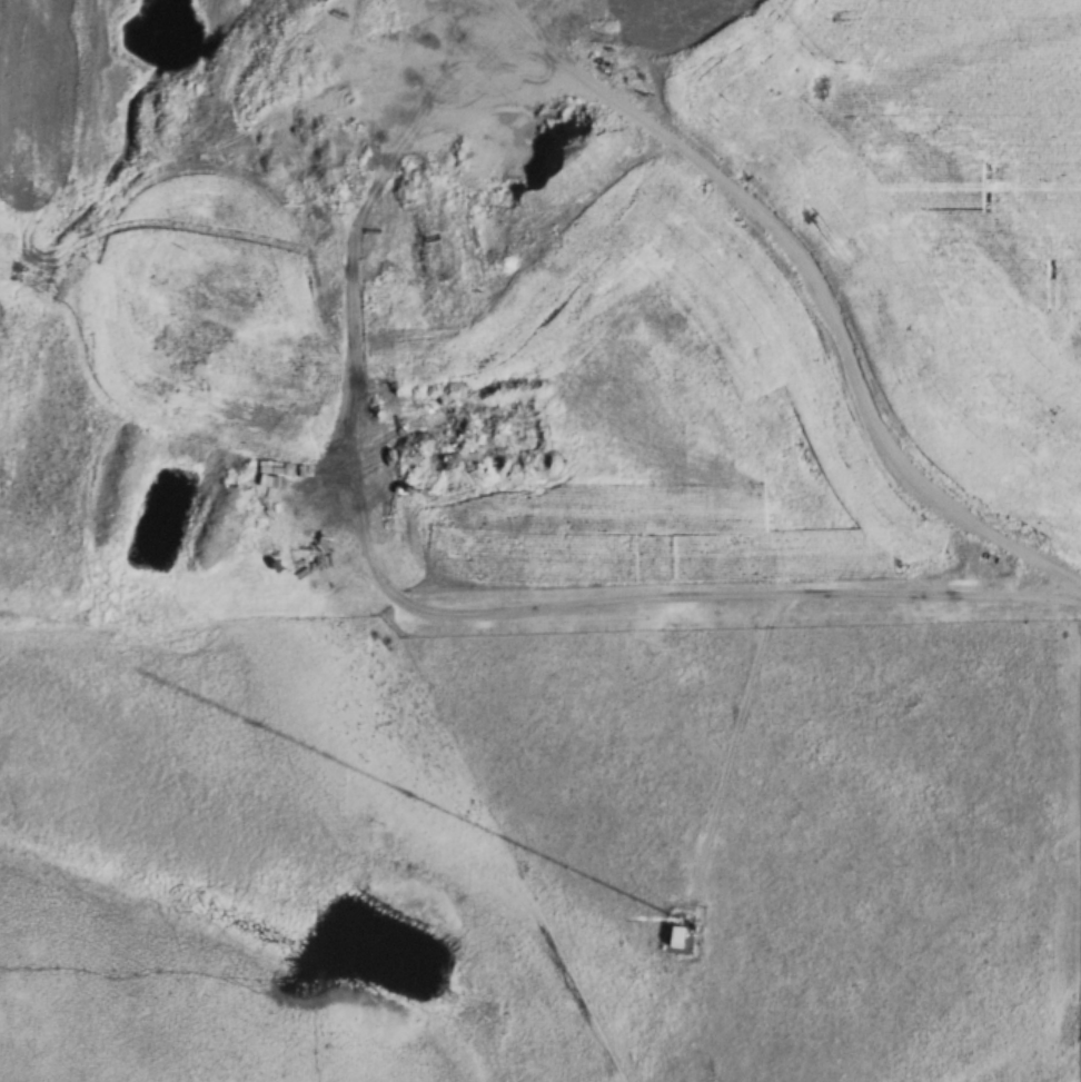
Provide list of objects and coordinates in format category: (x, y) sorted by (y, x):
building: (671, 936)

